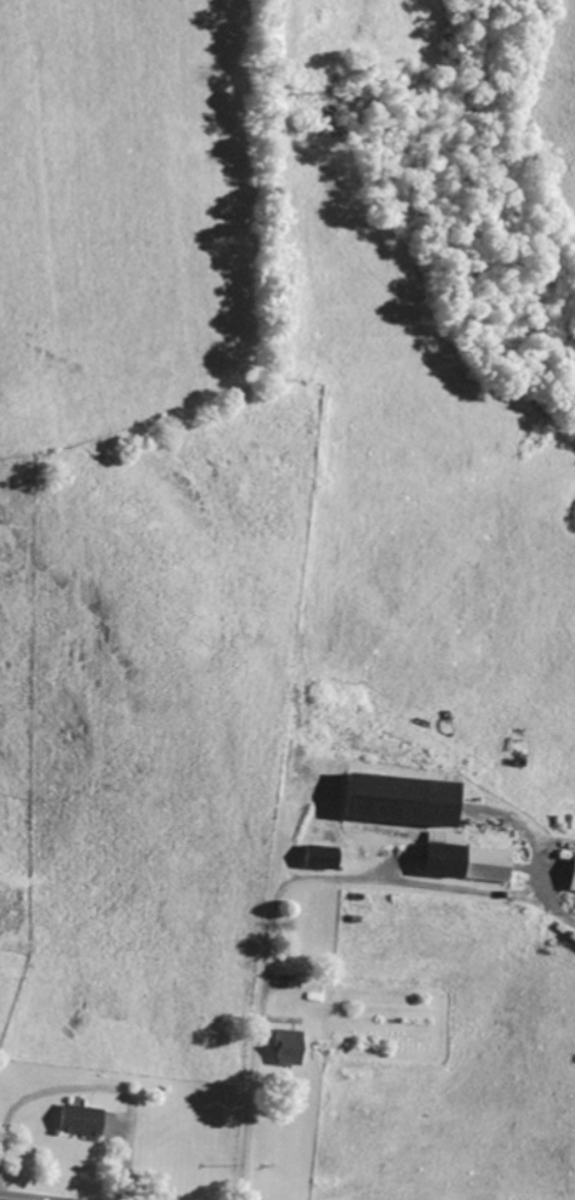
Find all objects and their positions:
building: (409, 800)
building: (328, 857)
building: (469, 859)
building: (574, 892)
road: (279, 893)
building: (292, 1047)
building: (85, 1120)
road: (22, 1196)

